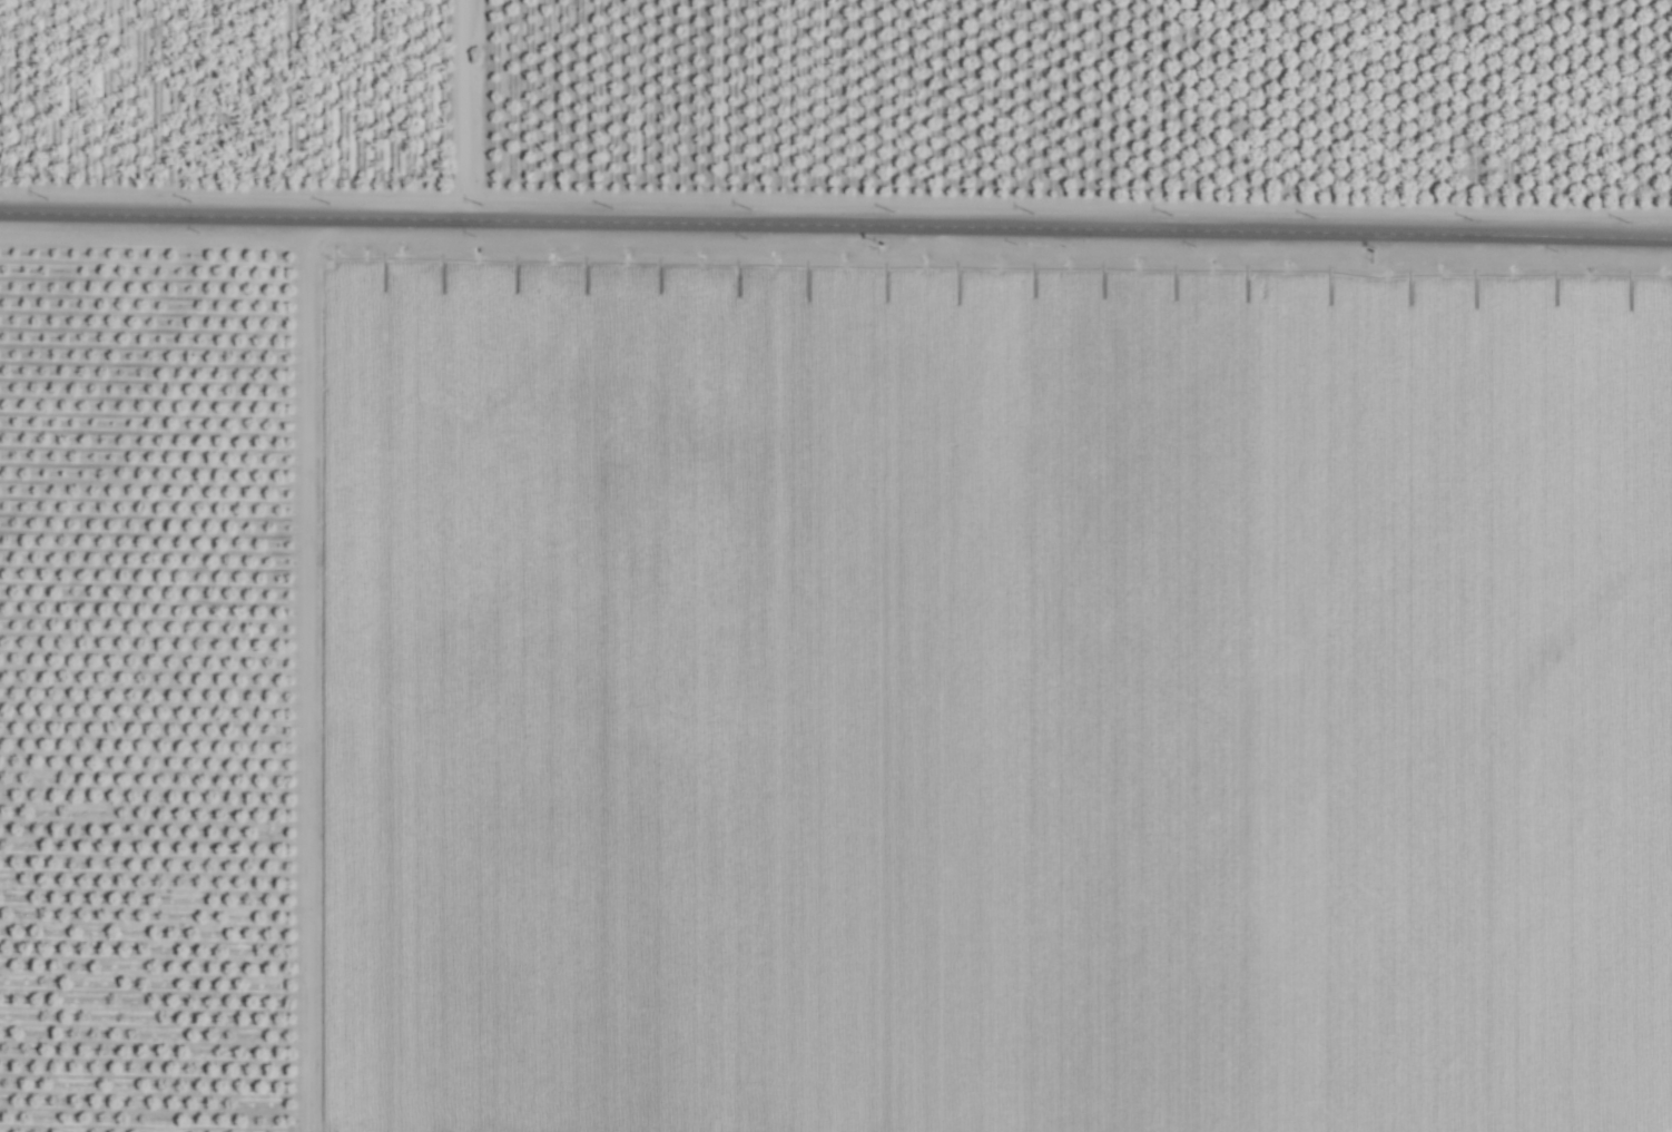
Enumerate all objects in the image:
road: (471, 109)
road: (836, 224)
crop: (836, 565)

